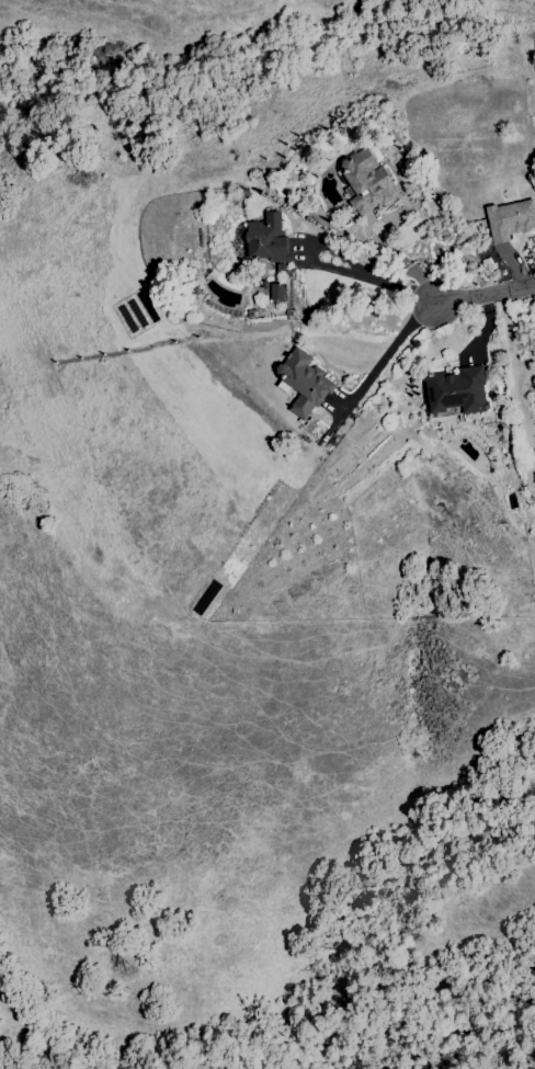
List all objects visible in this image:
building: (364, 182)
building: (510, 220)
building: (264, 238)
road: (339, 270)
building: (275, 292)
road: (485, 296)
road: (391, 346)
building: (303, 383)
building: (456, 393)

